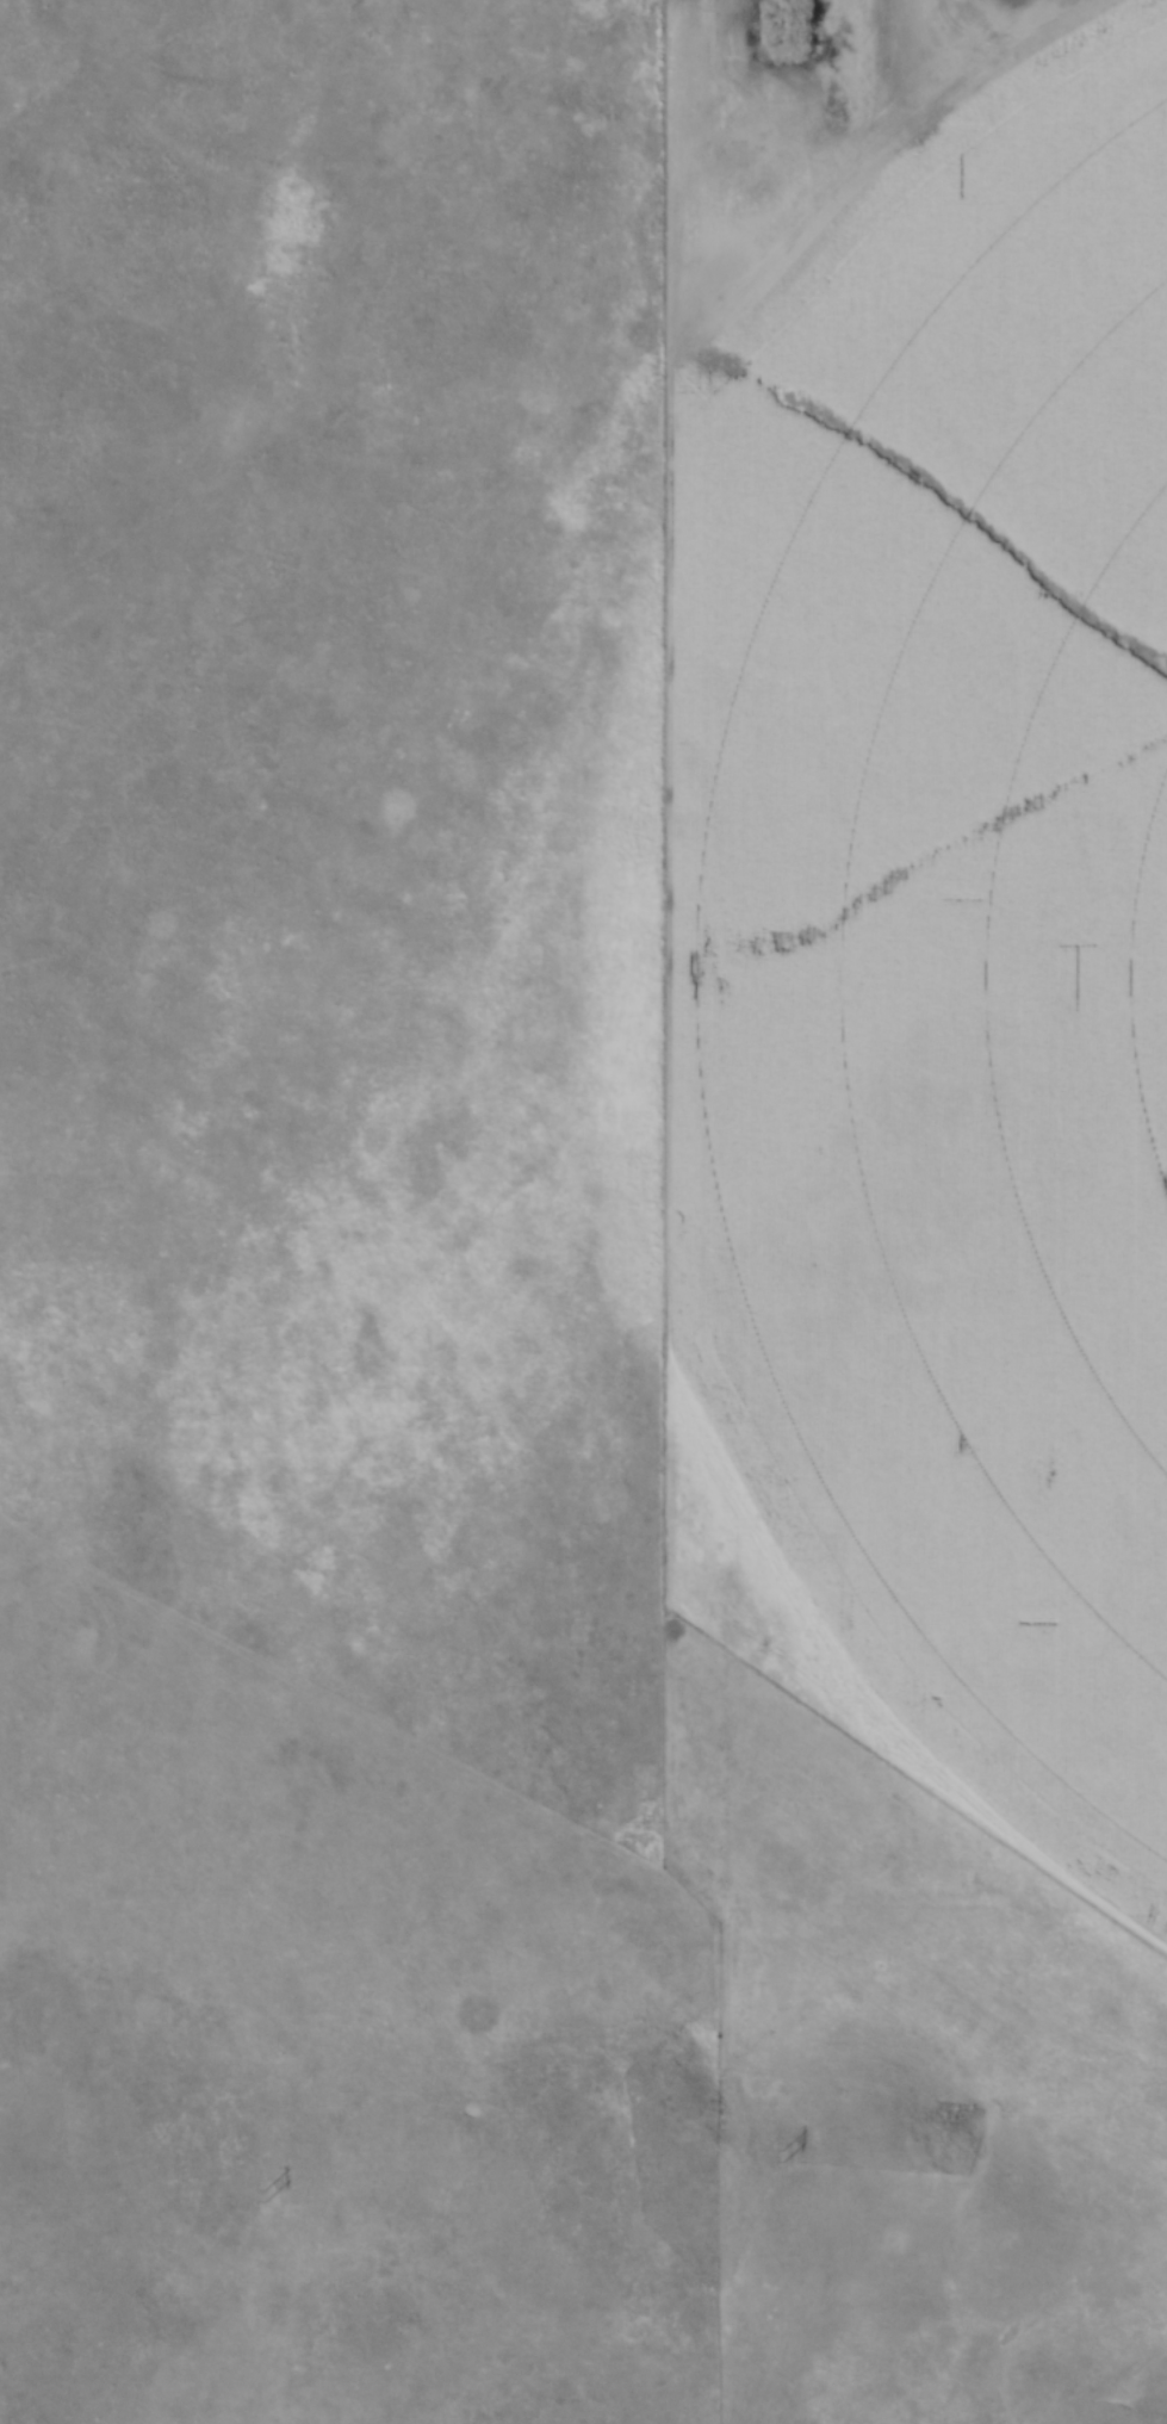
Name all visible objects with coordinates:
power tower: (777, 2157)
power tower: (259, 2195)

